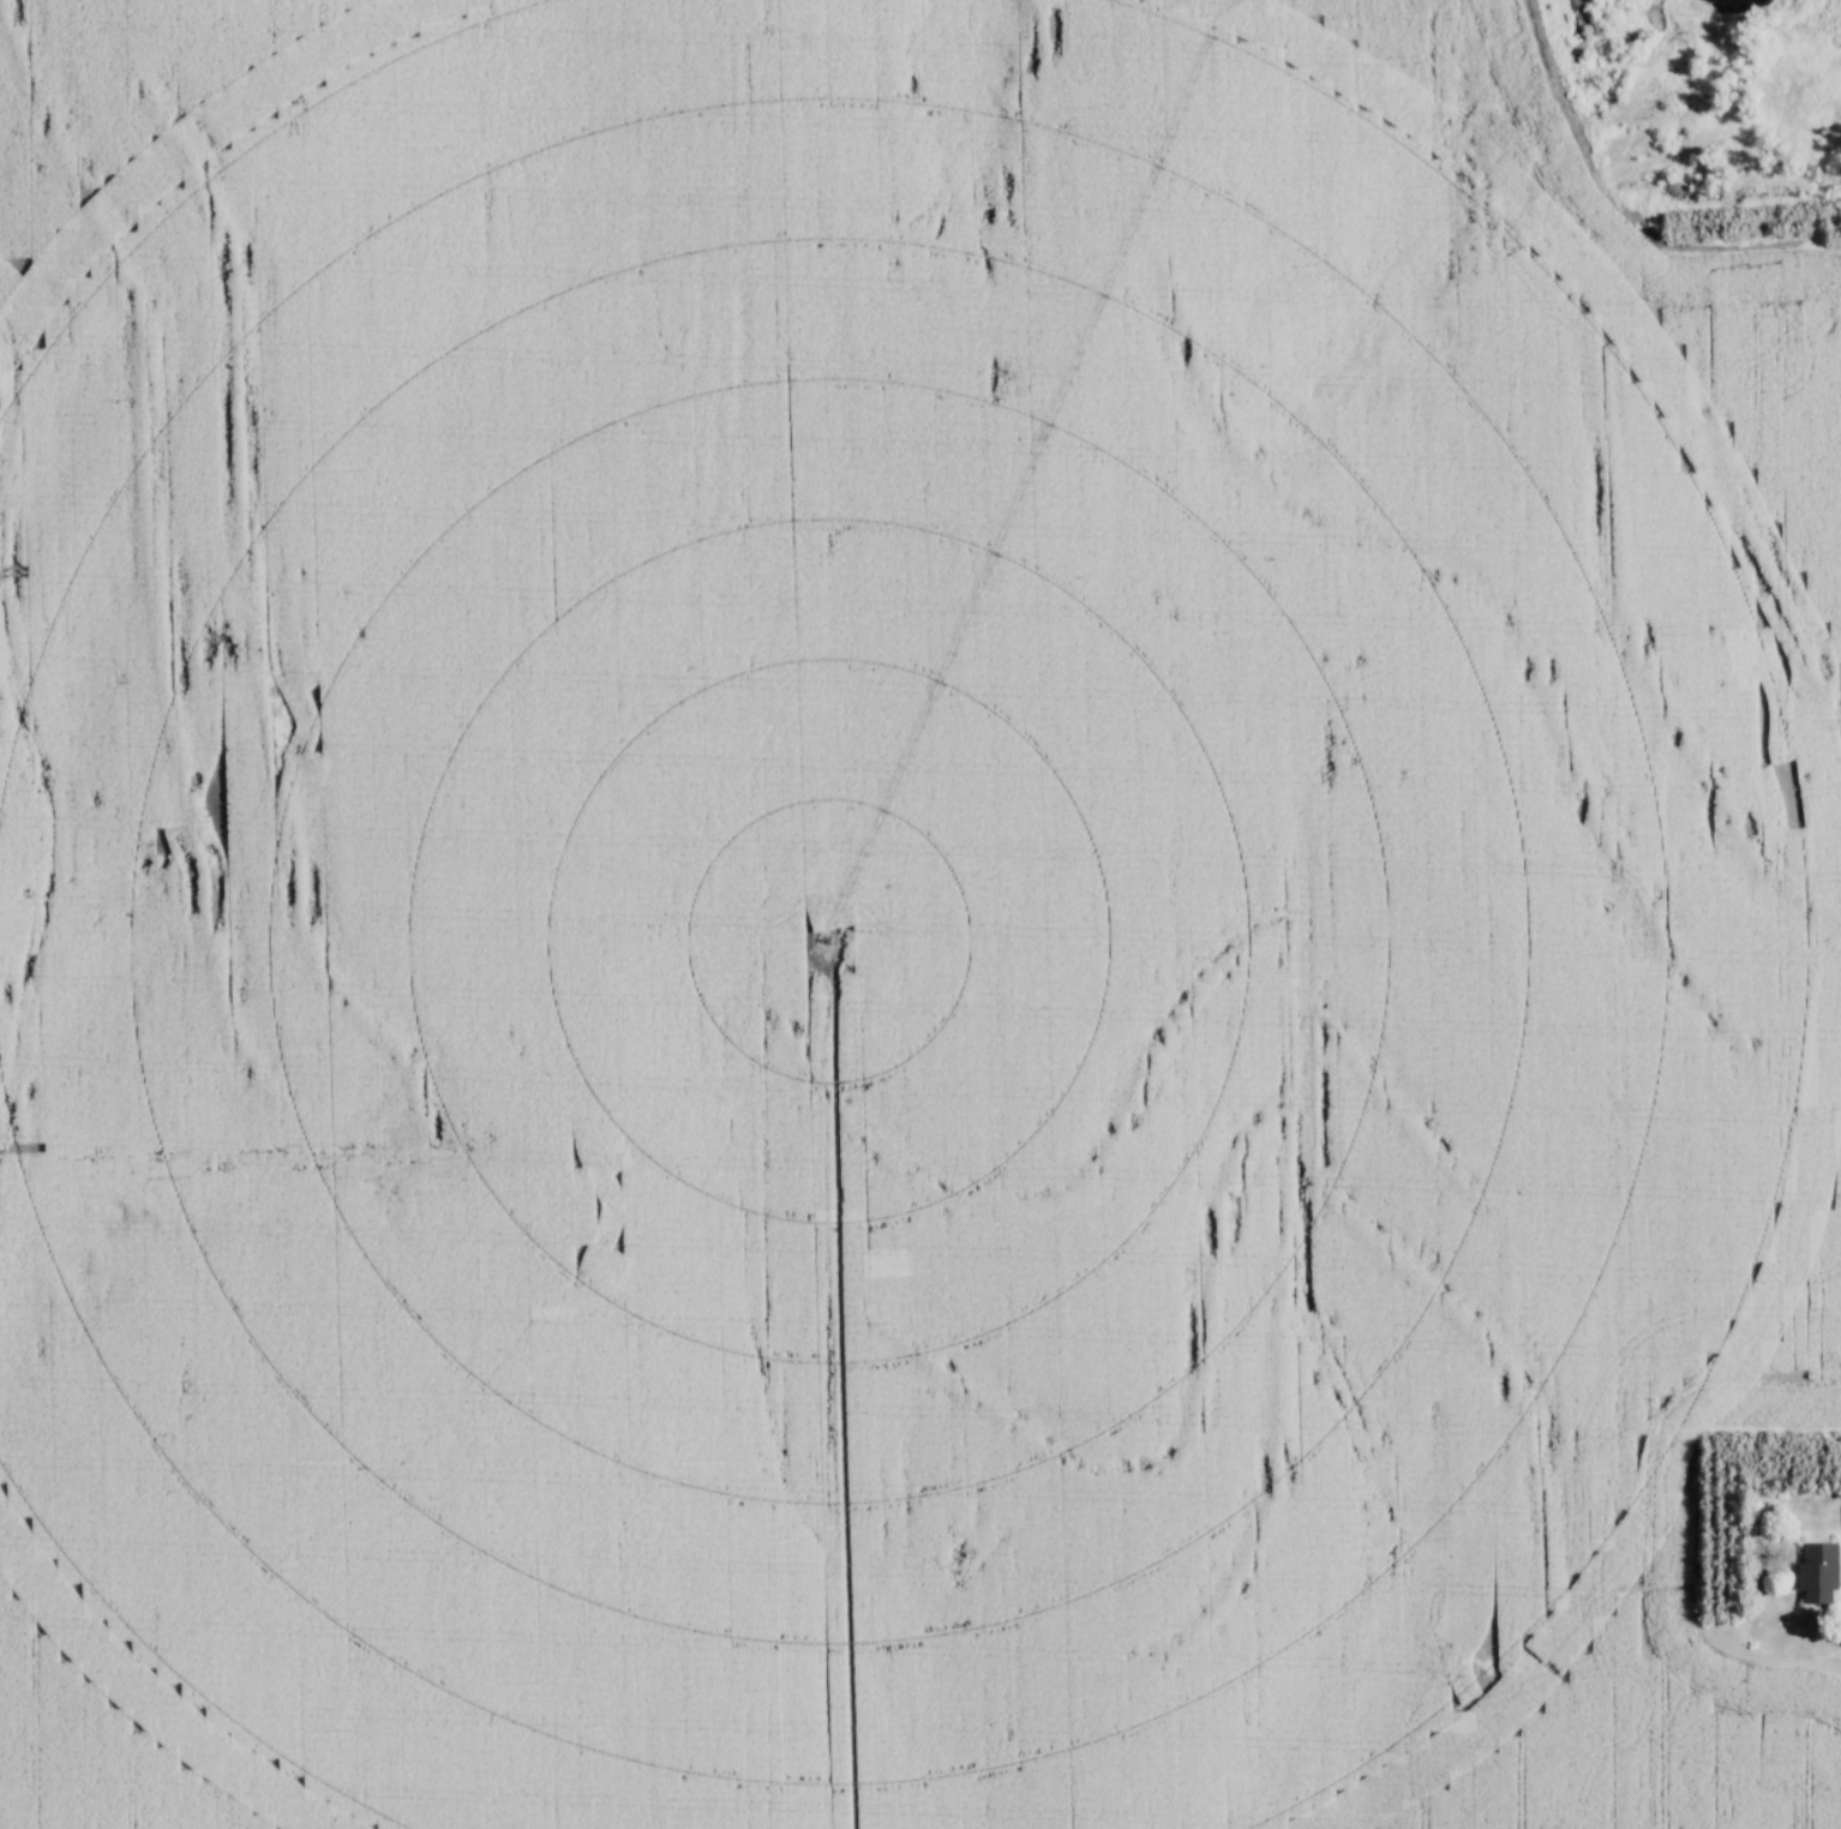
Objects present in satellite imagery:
building: (1816, 1572)

